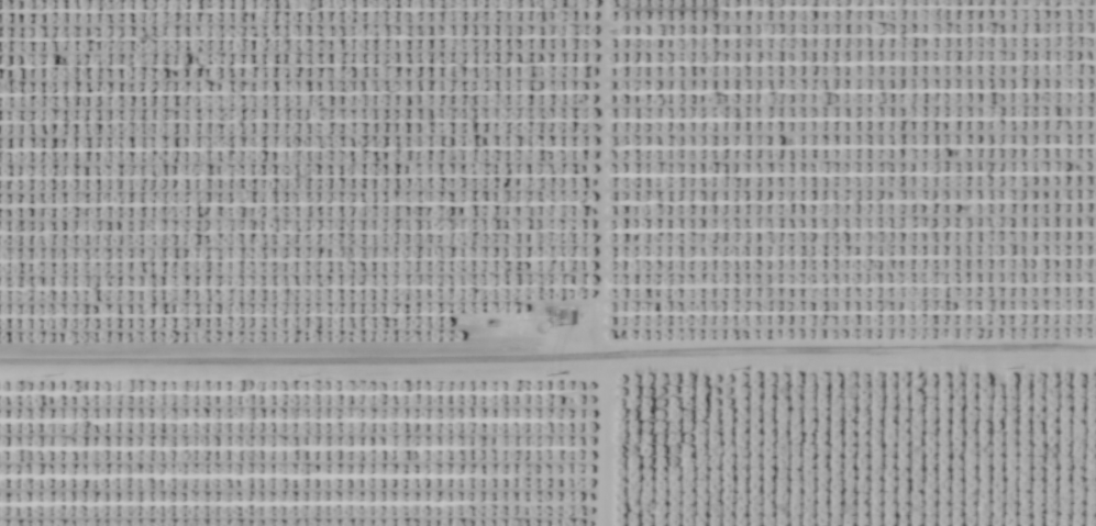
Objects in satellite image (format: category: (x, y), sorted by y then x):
road: (590, 262)
road: (547, 360)

